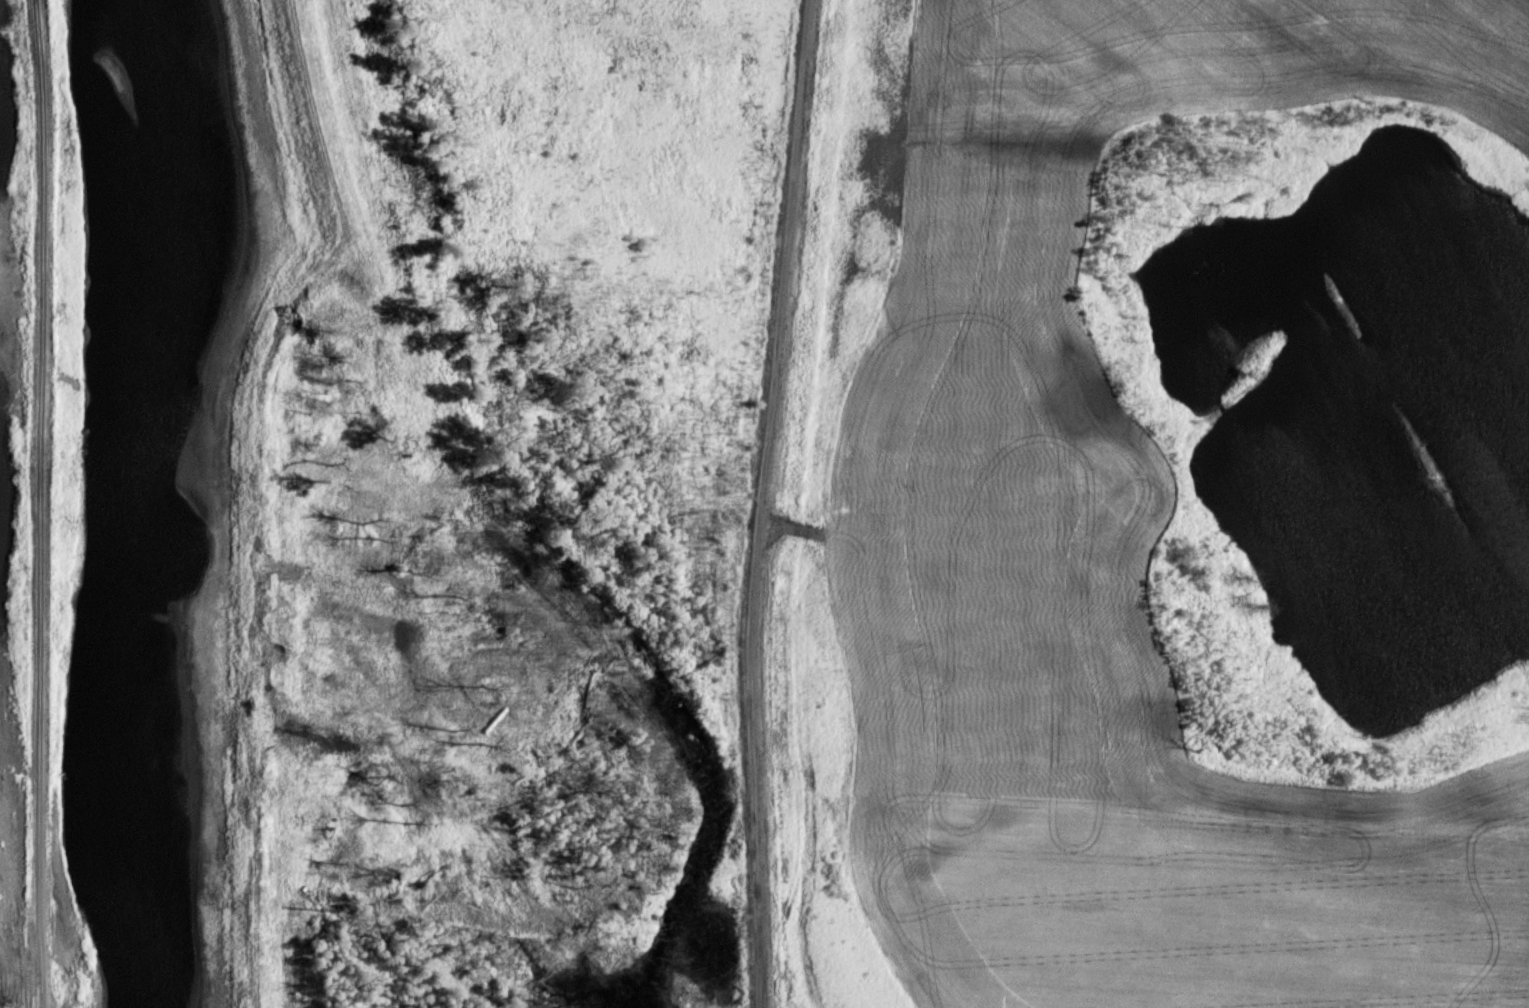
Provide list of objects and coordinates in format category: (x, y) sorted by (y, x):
road: (763, 503)

